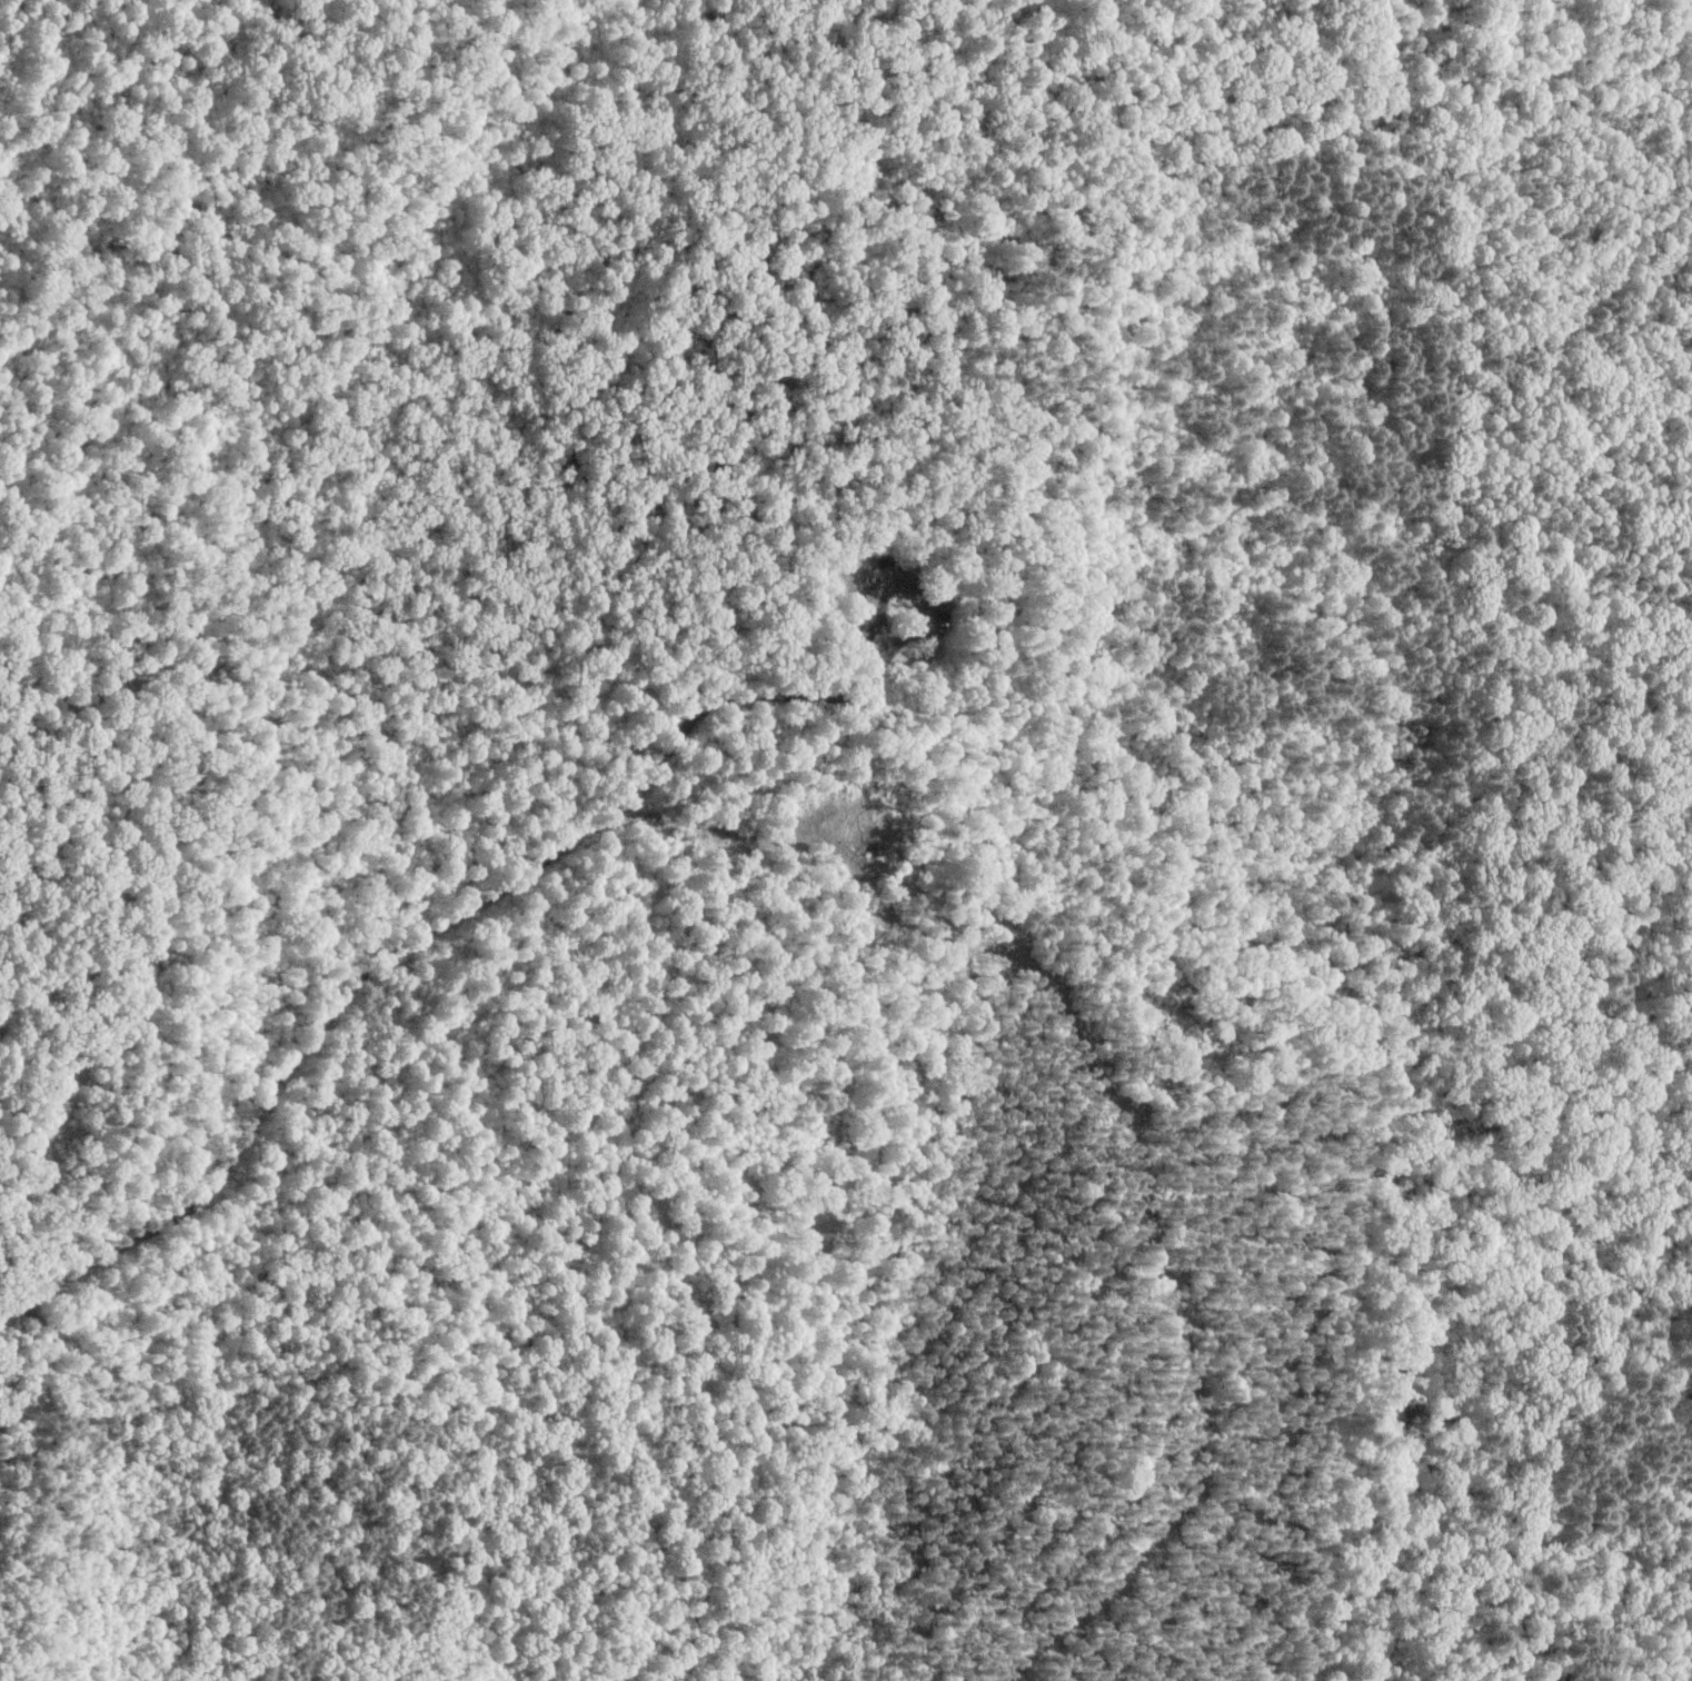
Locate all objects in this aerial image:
road: (1118, 121)
road: (905, 581)
parking lot: (878, 611)
road: (418, 941)

